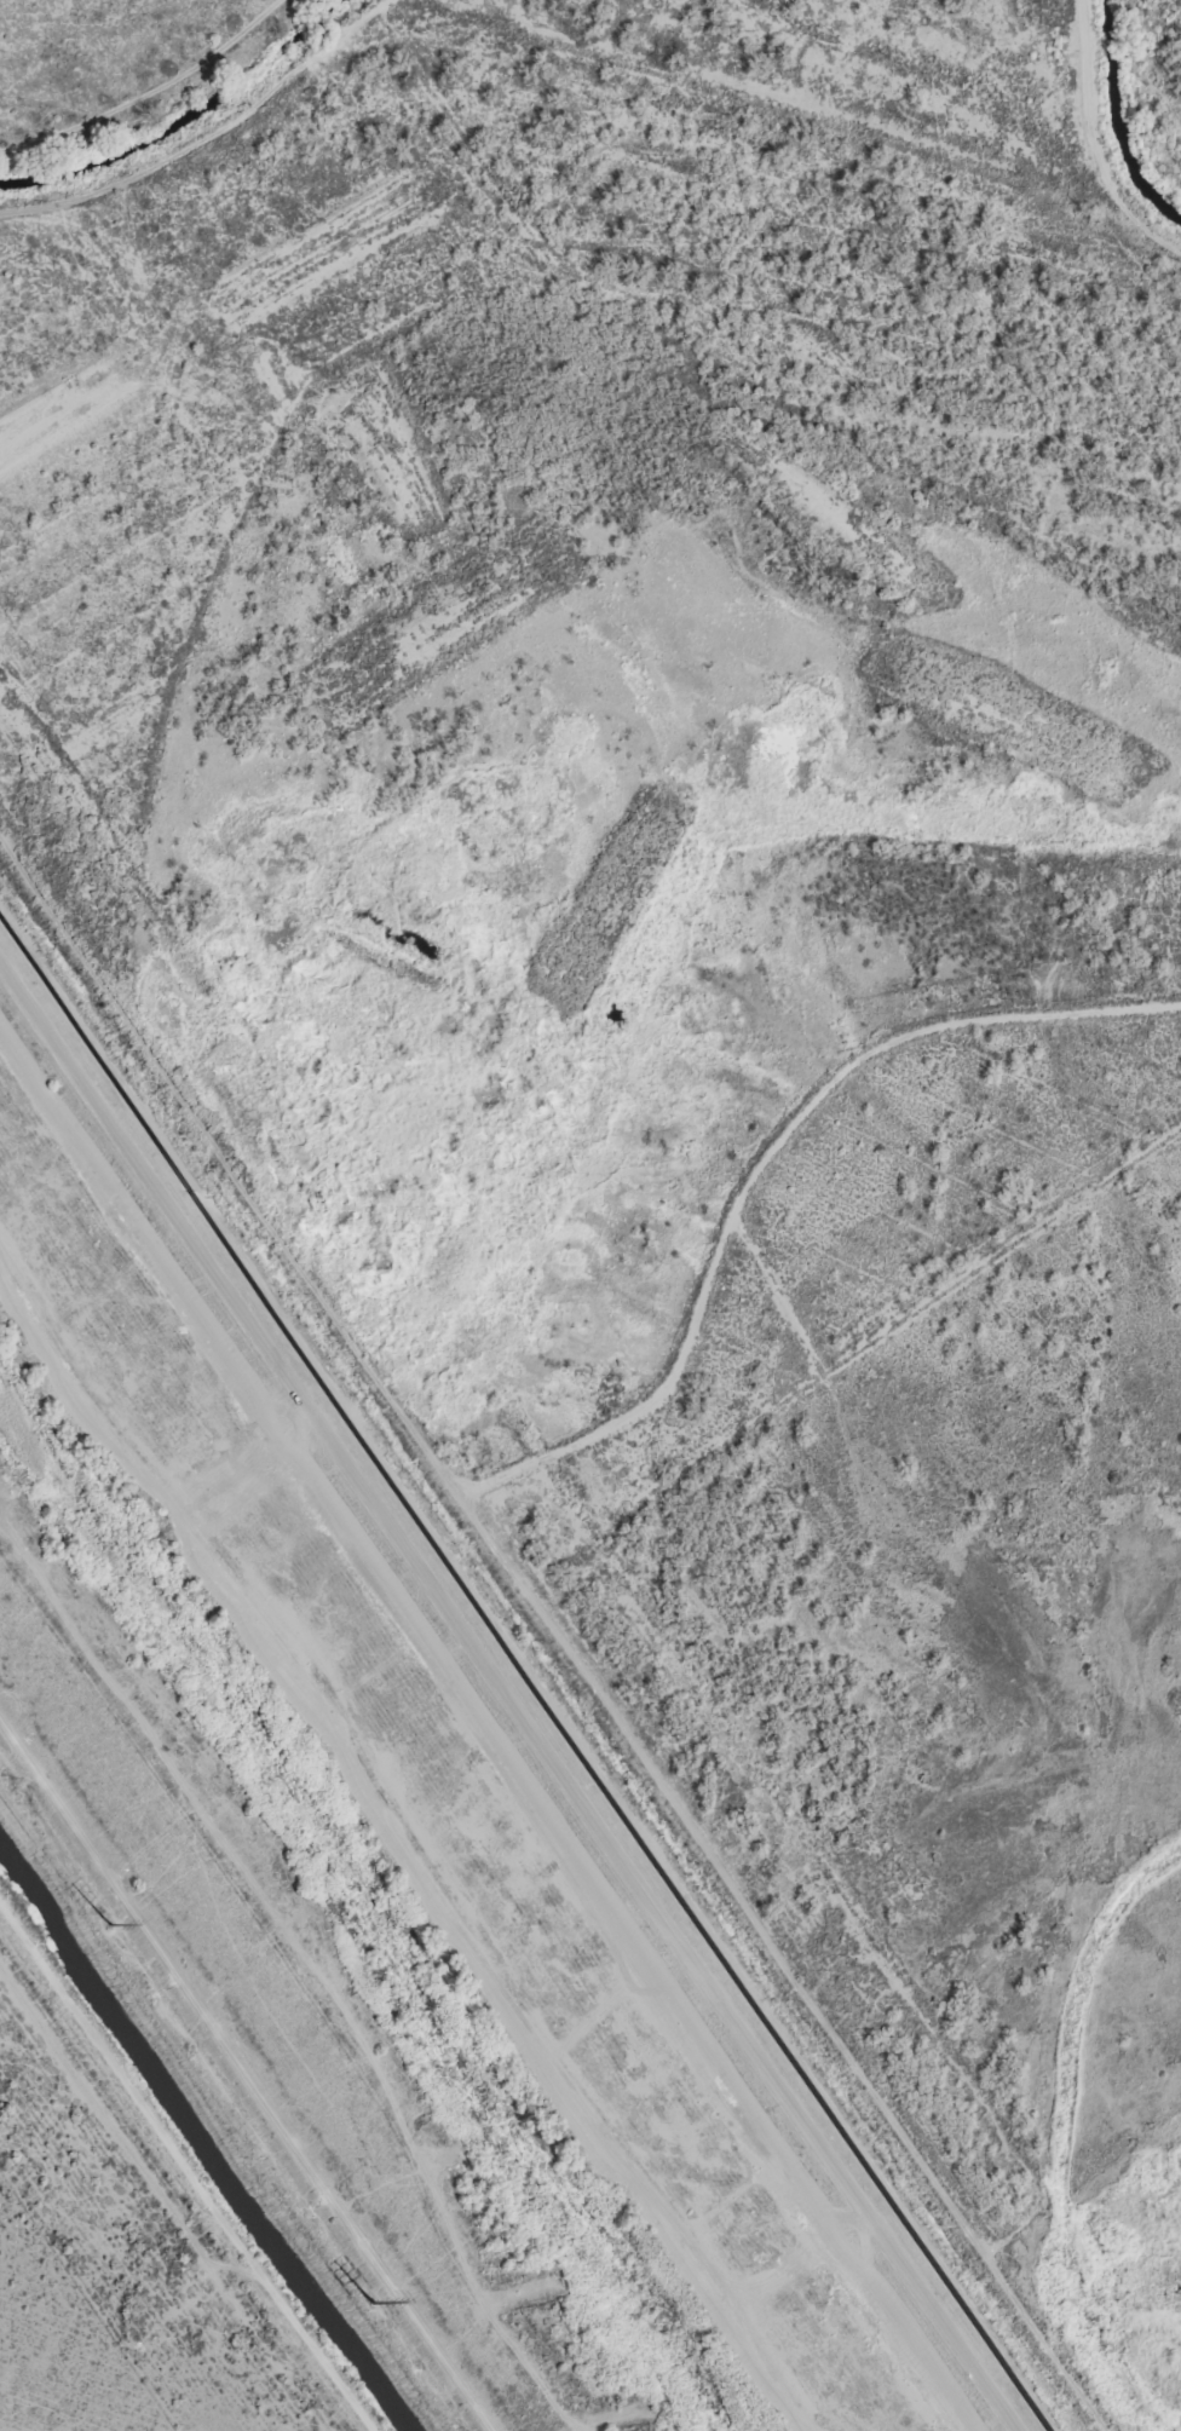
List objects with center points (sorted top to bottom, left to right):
river: (375, 1909)
power tower: (102, 1925)
road: (243, 2078)
road: (182, 2174)
power tower: (363, 2300)

